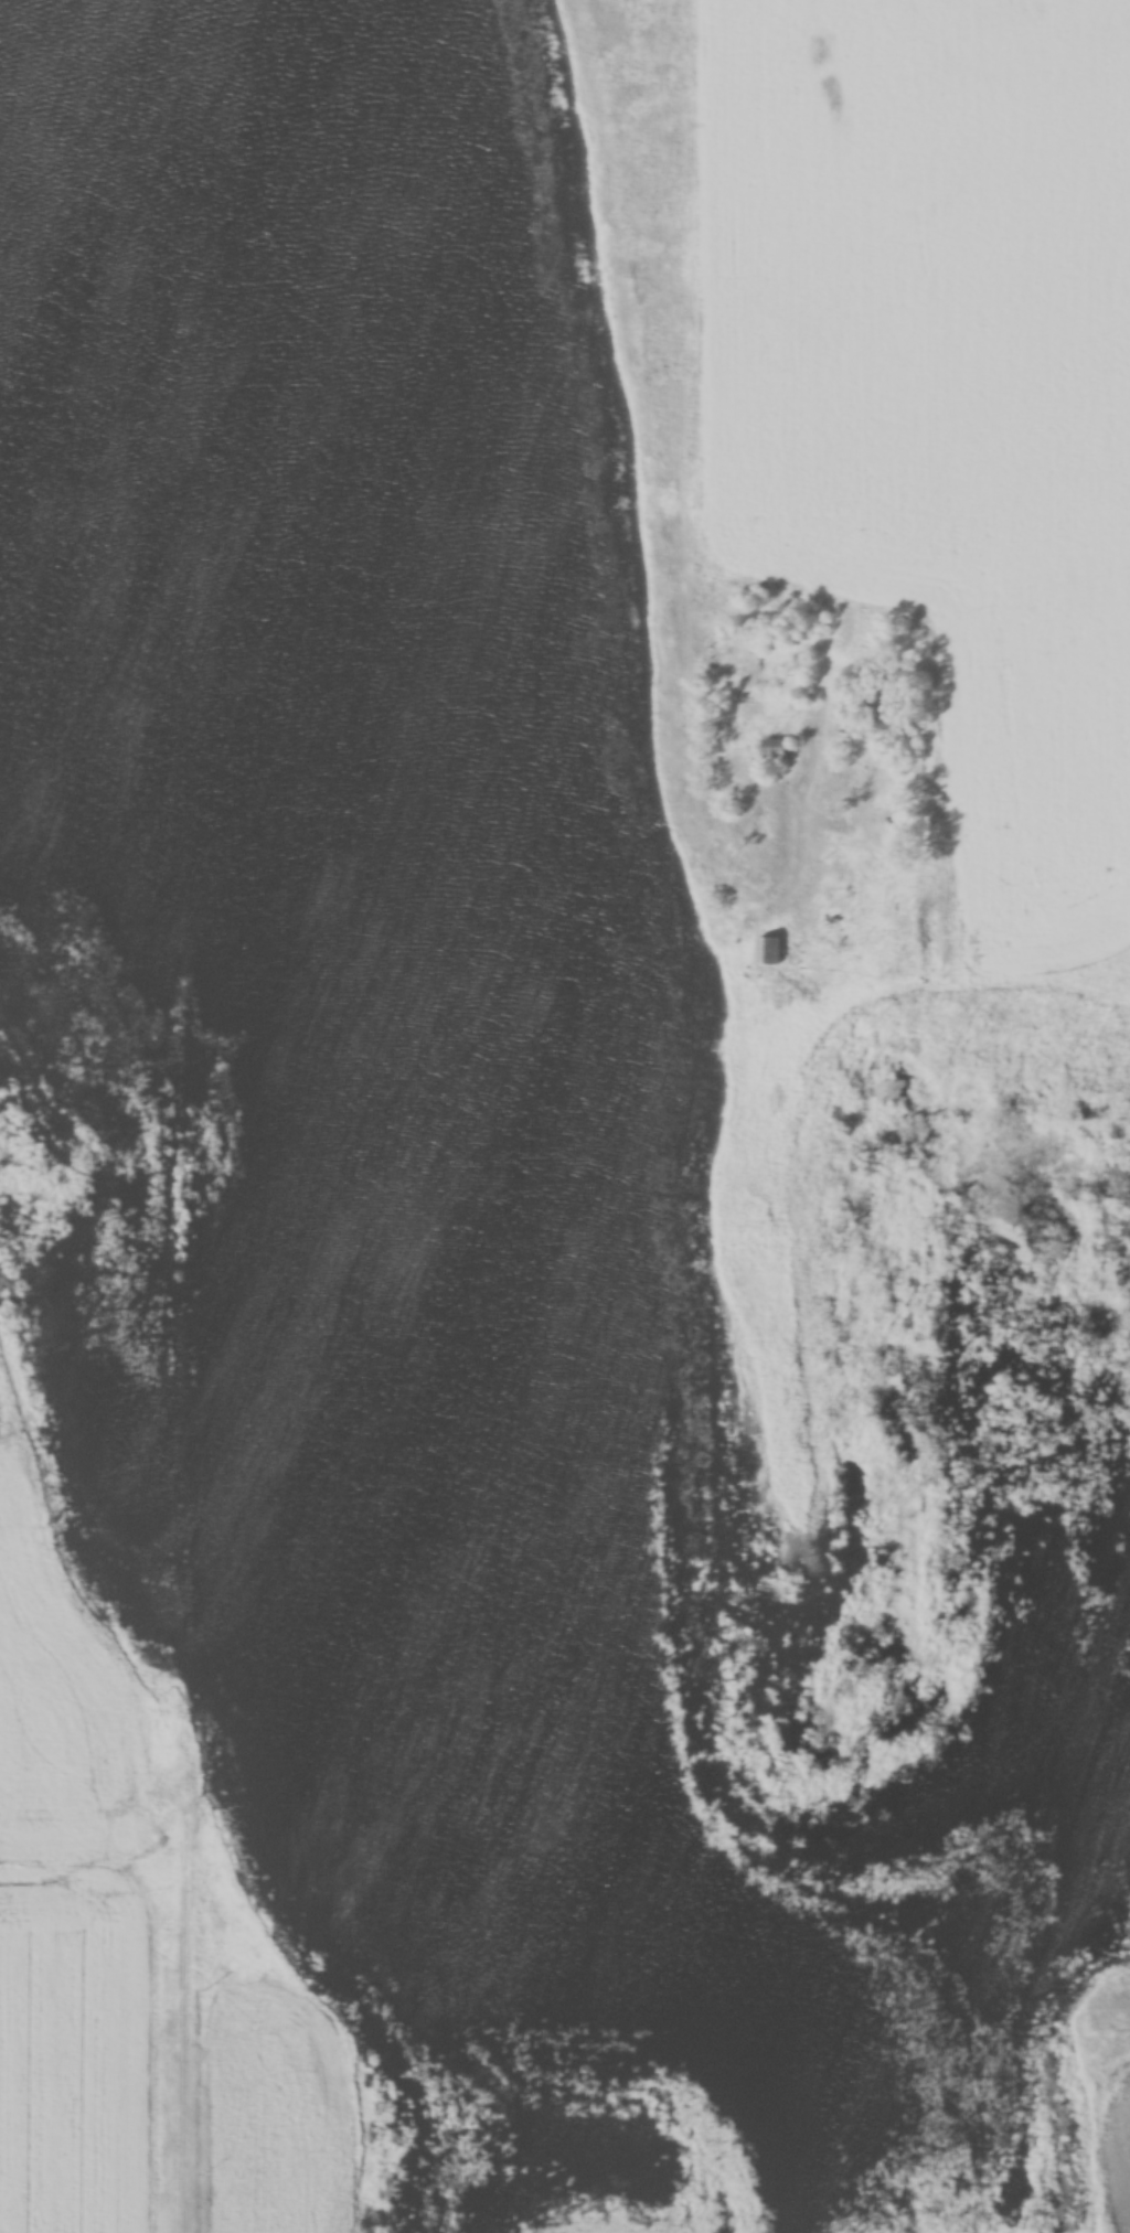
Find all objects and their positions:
building: (866, 699)
building: (778, 748)
building: (768, 949)
road: (189, 1115)
crop: (276, 2122)

